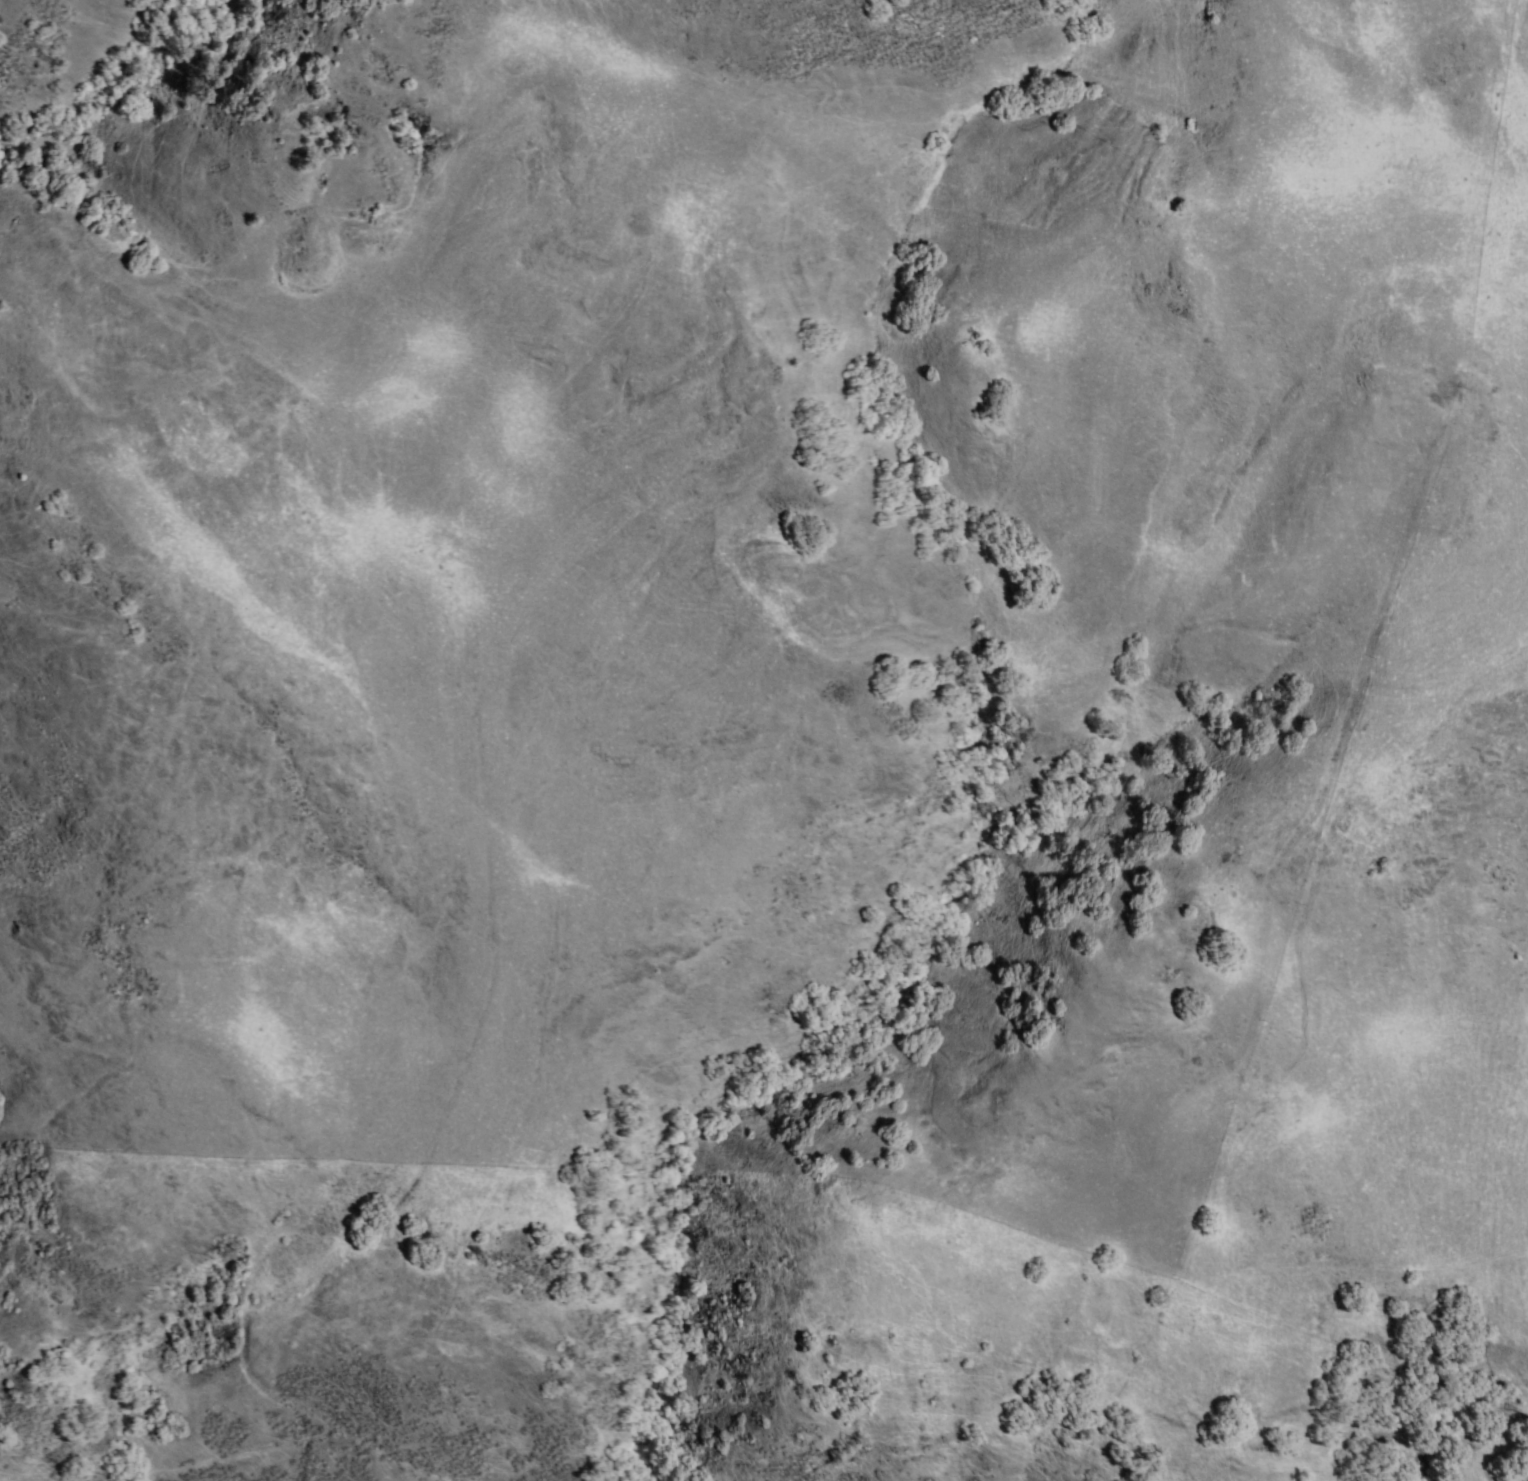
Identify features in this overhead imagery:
road: (257, 1272)

